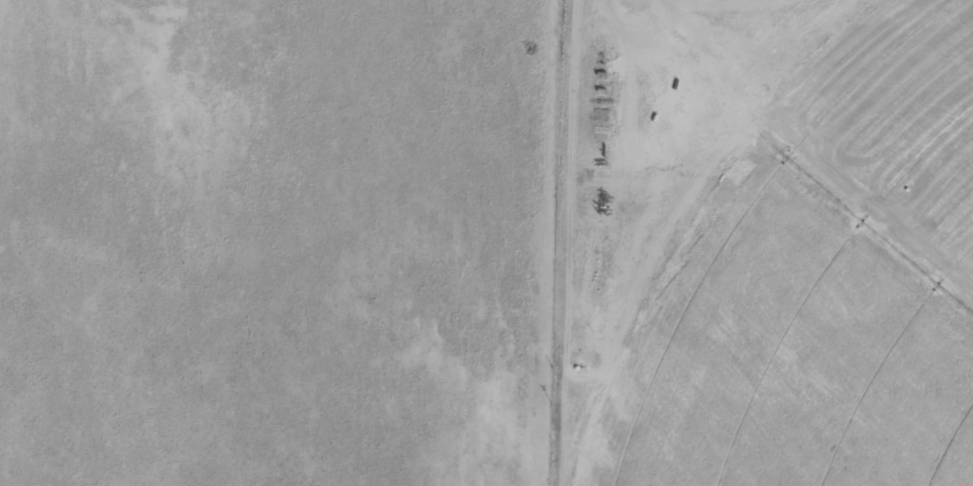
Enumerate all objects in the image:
road: (579, 176)

